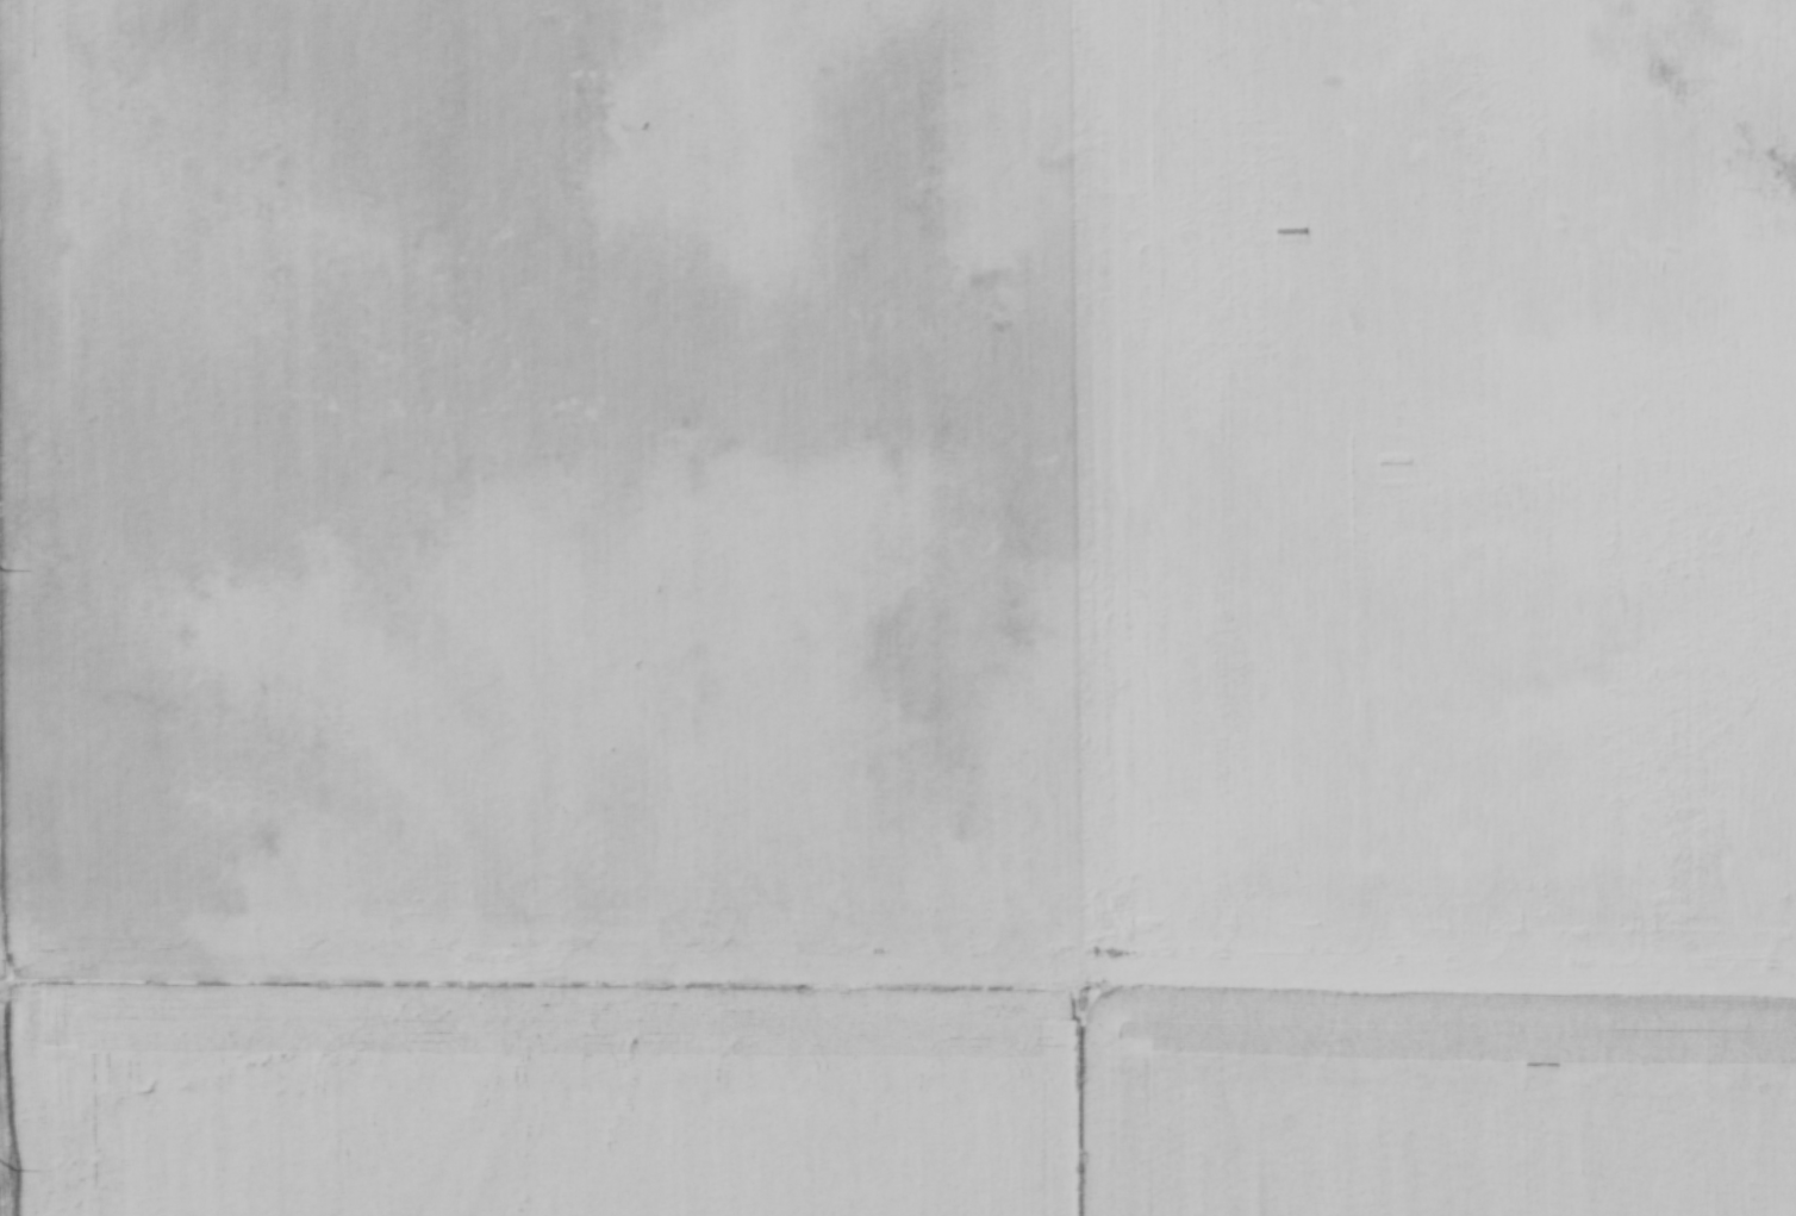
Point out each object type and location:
power tower: (4, 568)
power tower: (14, 1168)

